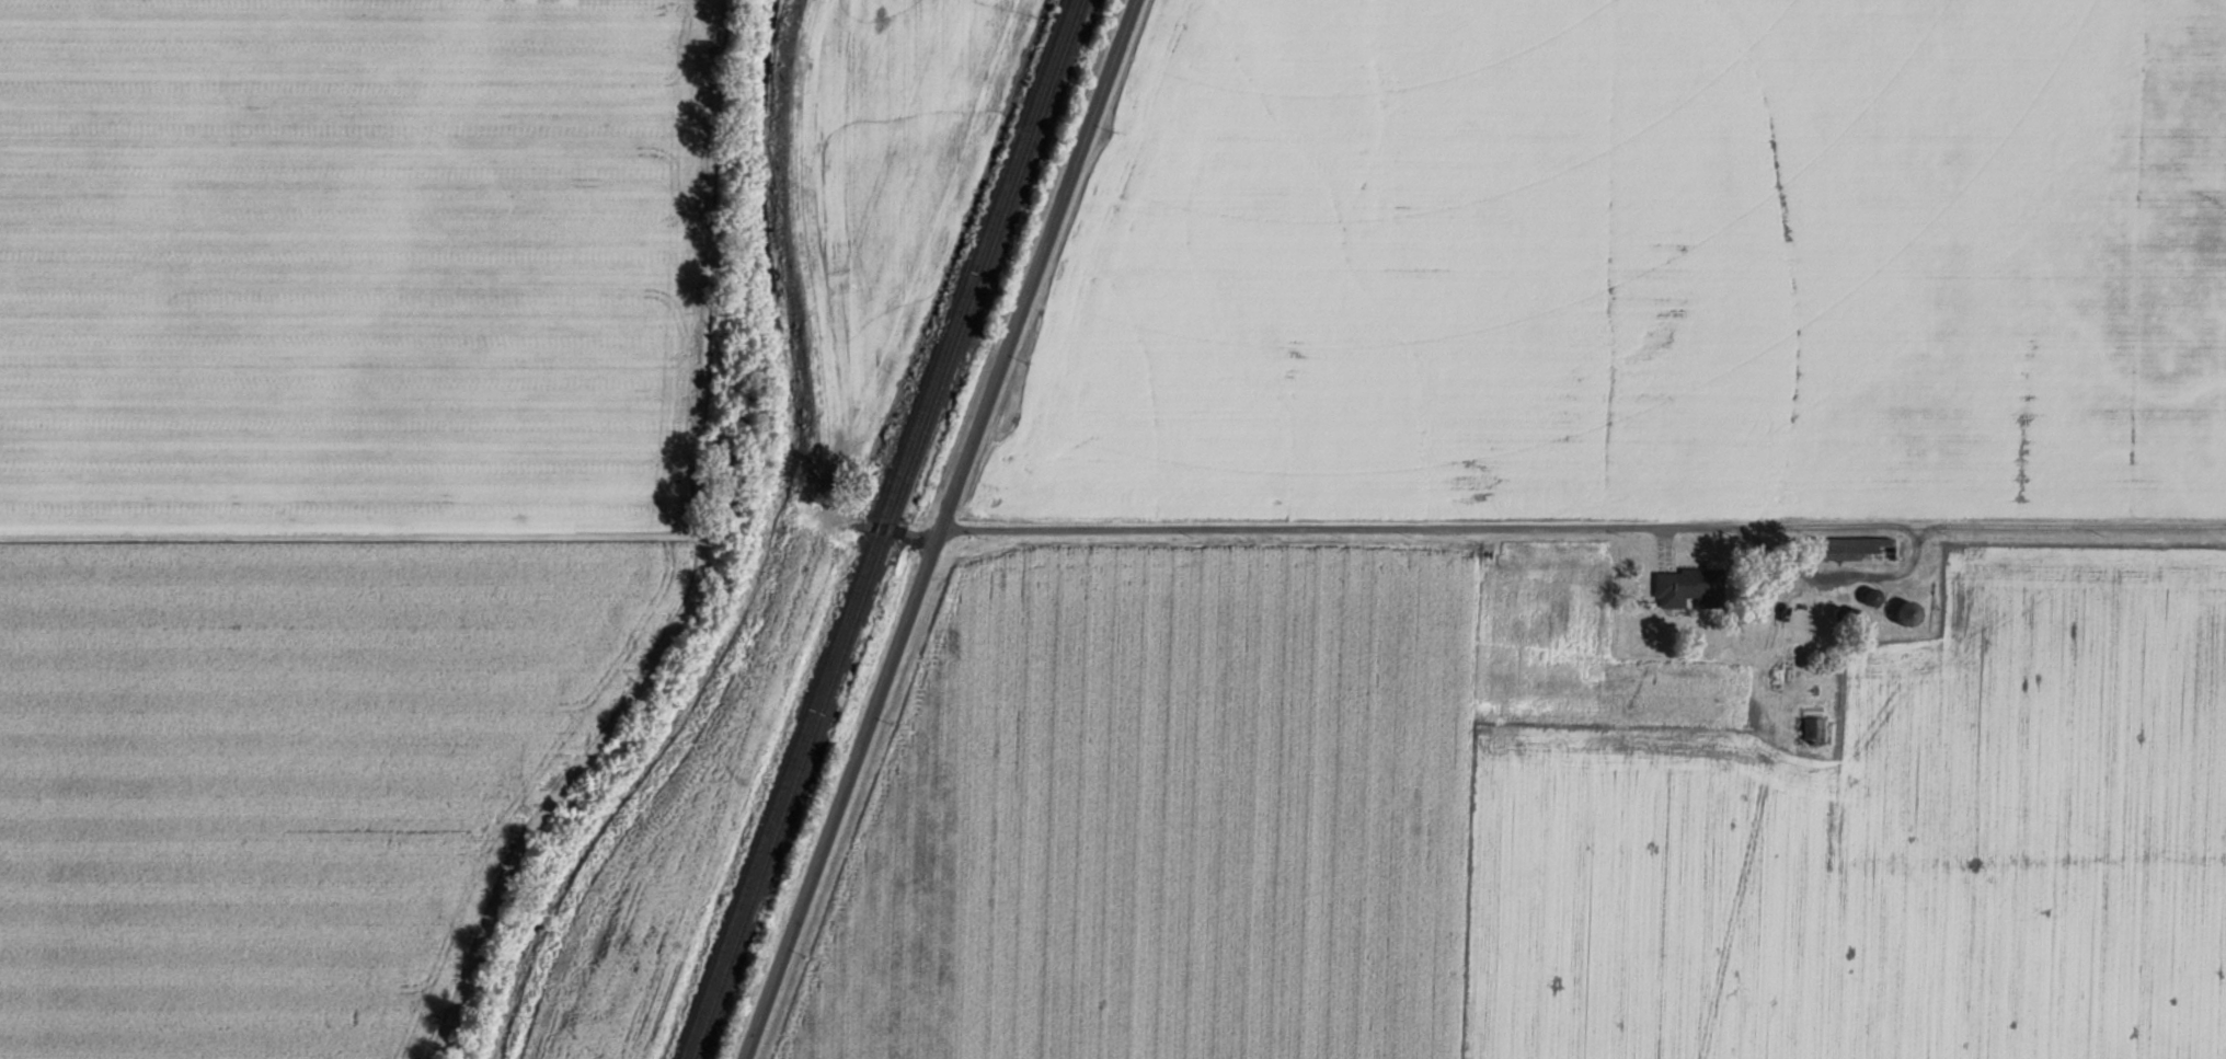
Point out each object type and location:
road: (1037, 264)
road: (873, 525)
railway: (877, 529)
railway: (890, 529)
road: (1322, 529)
building: (1857, 549)
building: (1690, 587)
building: (1912, 612)
building: (1815, 726)
road: (841, 793)

